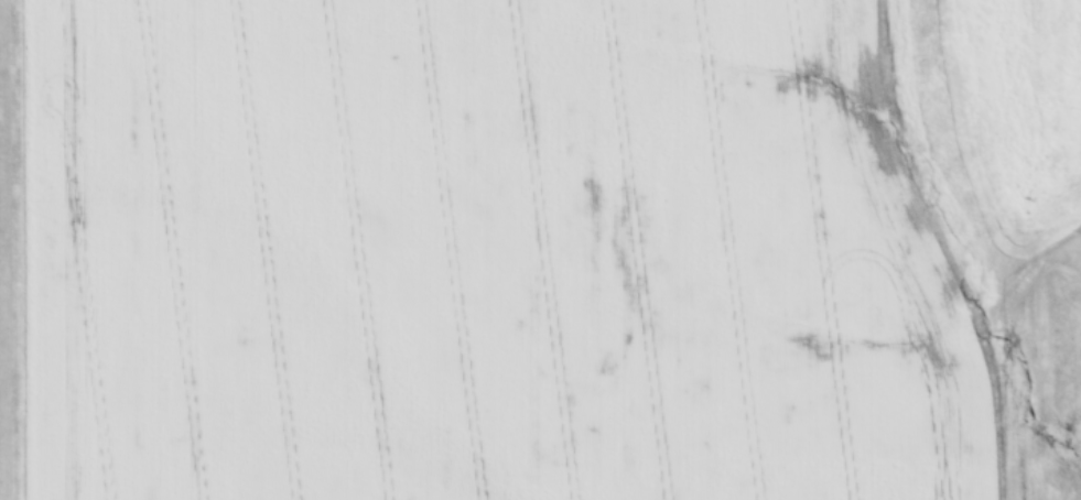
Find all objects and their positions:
road: (1038, 126)

